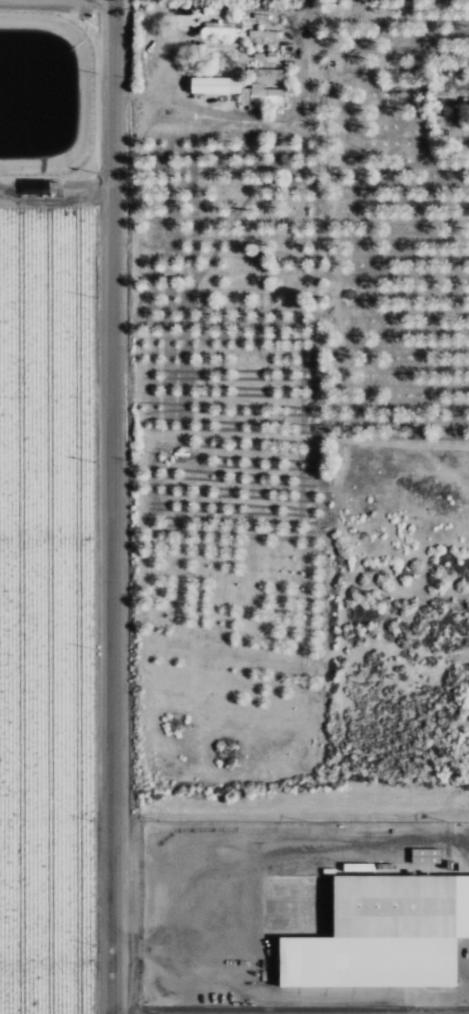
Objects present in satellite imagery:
building: (221, 28)
building: (216, 85)
building: (264, 89)
road: (54, 202)
crop: (50, 505)
road: (112, 506)
road: (94, 604)
building: (427, 855)
building: (385, 935)

